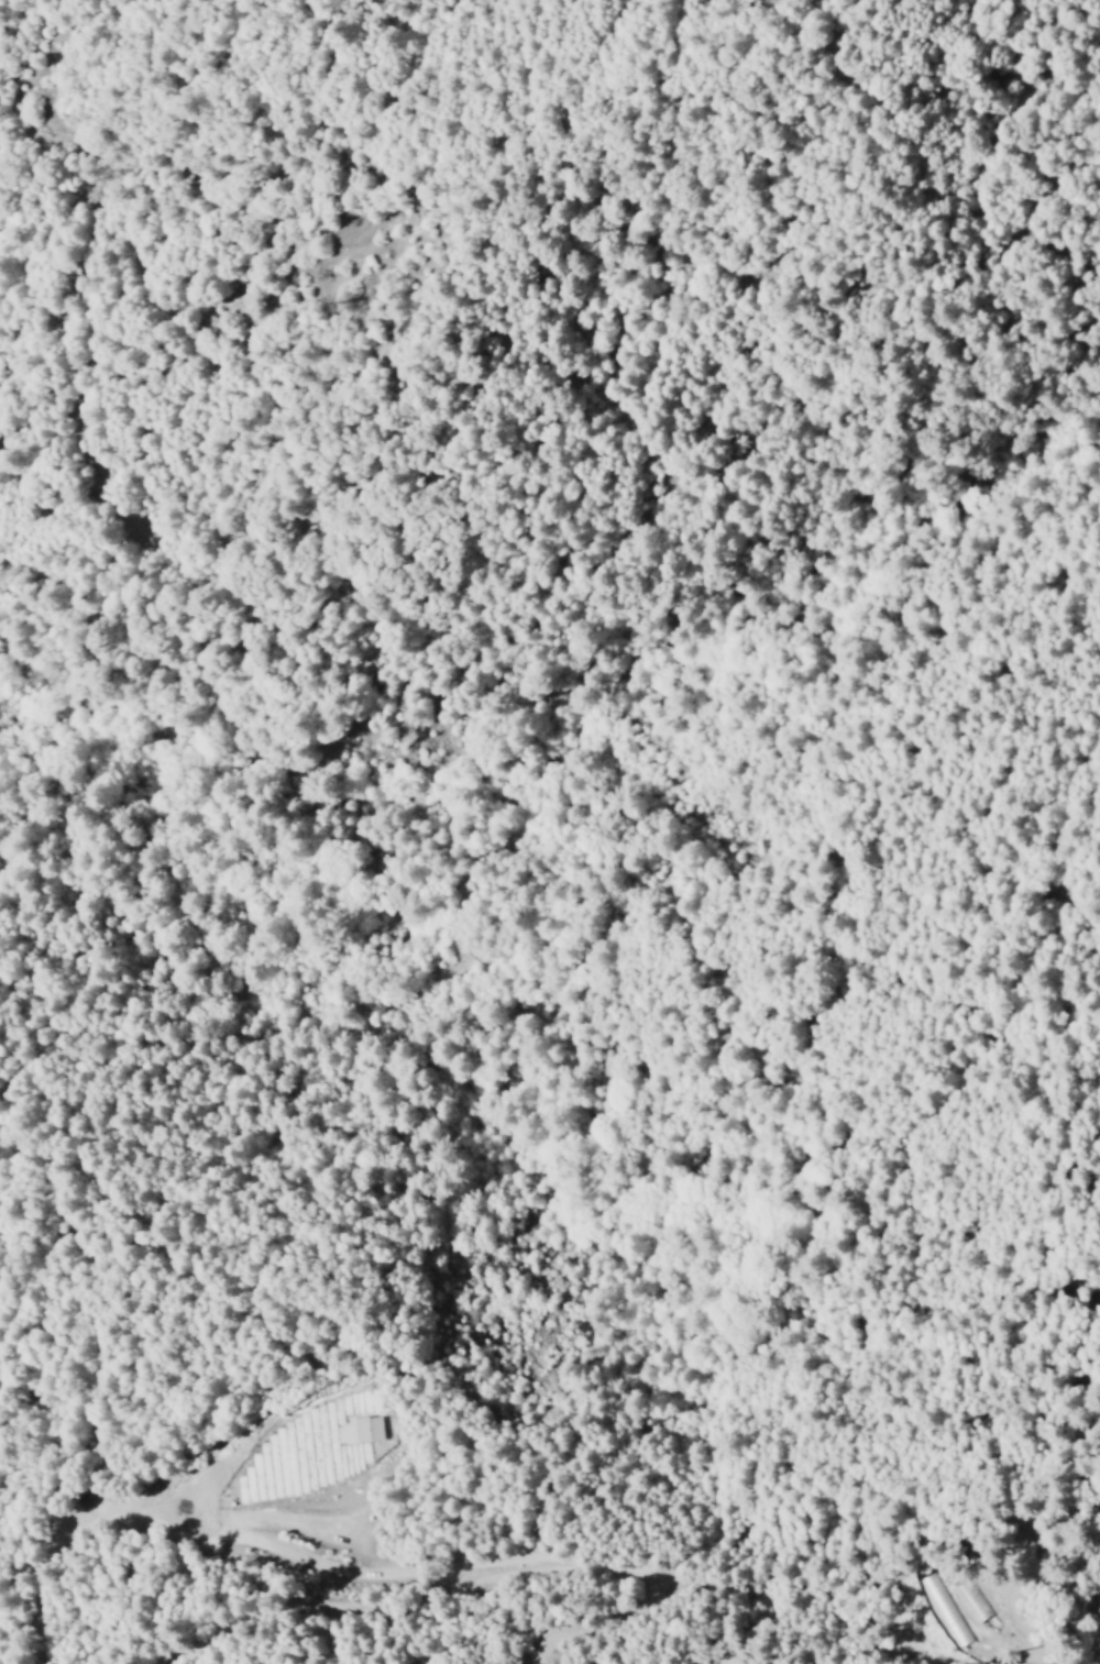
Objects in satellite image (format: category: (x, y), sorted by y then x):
building: (361, 1432)
building: (939, 1600)
building: (971, 1601)
road: (1067, 1604)
road: (889, 1649)

